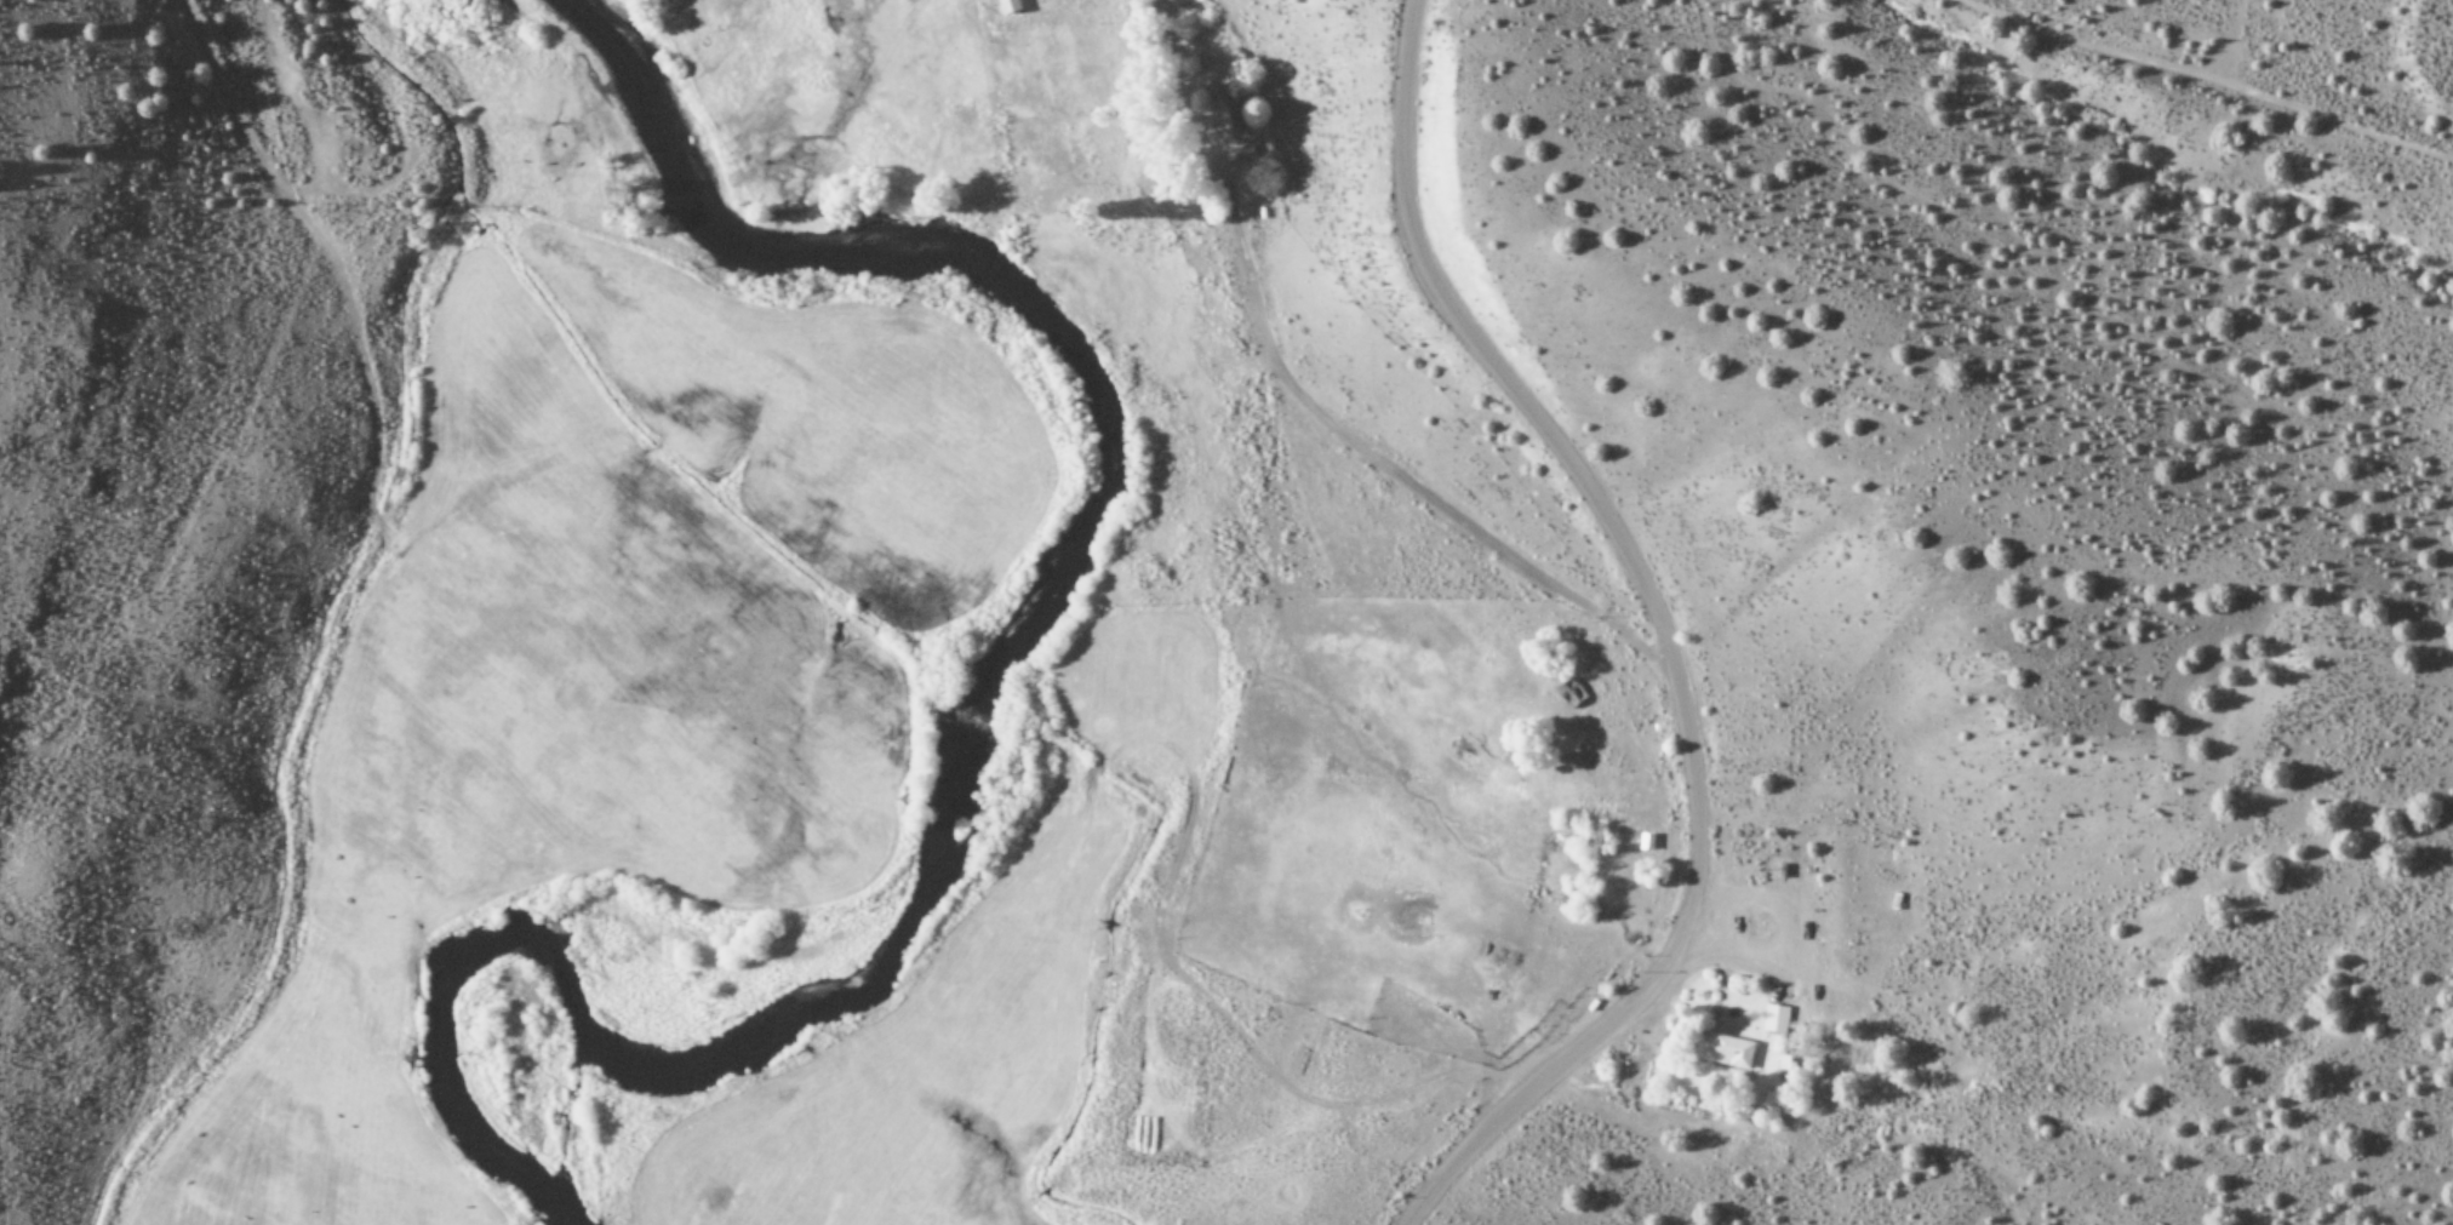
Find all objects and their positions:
building: (1008, 6)
road: (2188, 97)
building: (1226, 110)
road: (1658, 629)
river: (994, 687)
building: (1571, 693)
building: (1647, 838)
building: (1776, 1019)
building: (1725, 1052)

